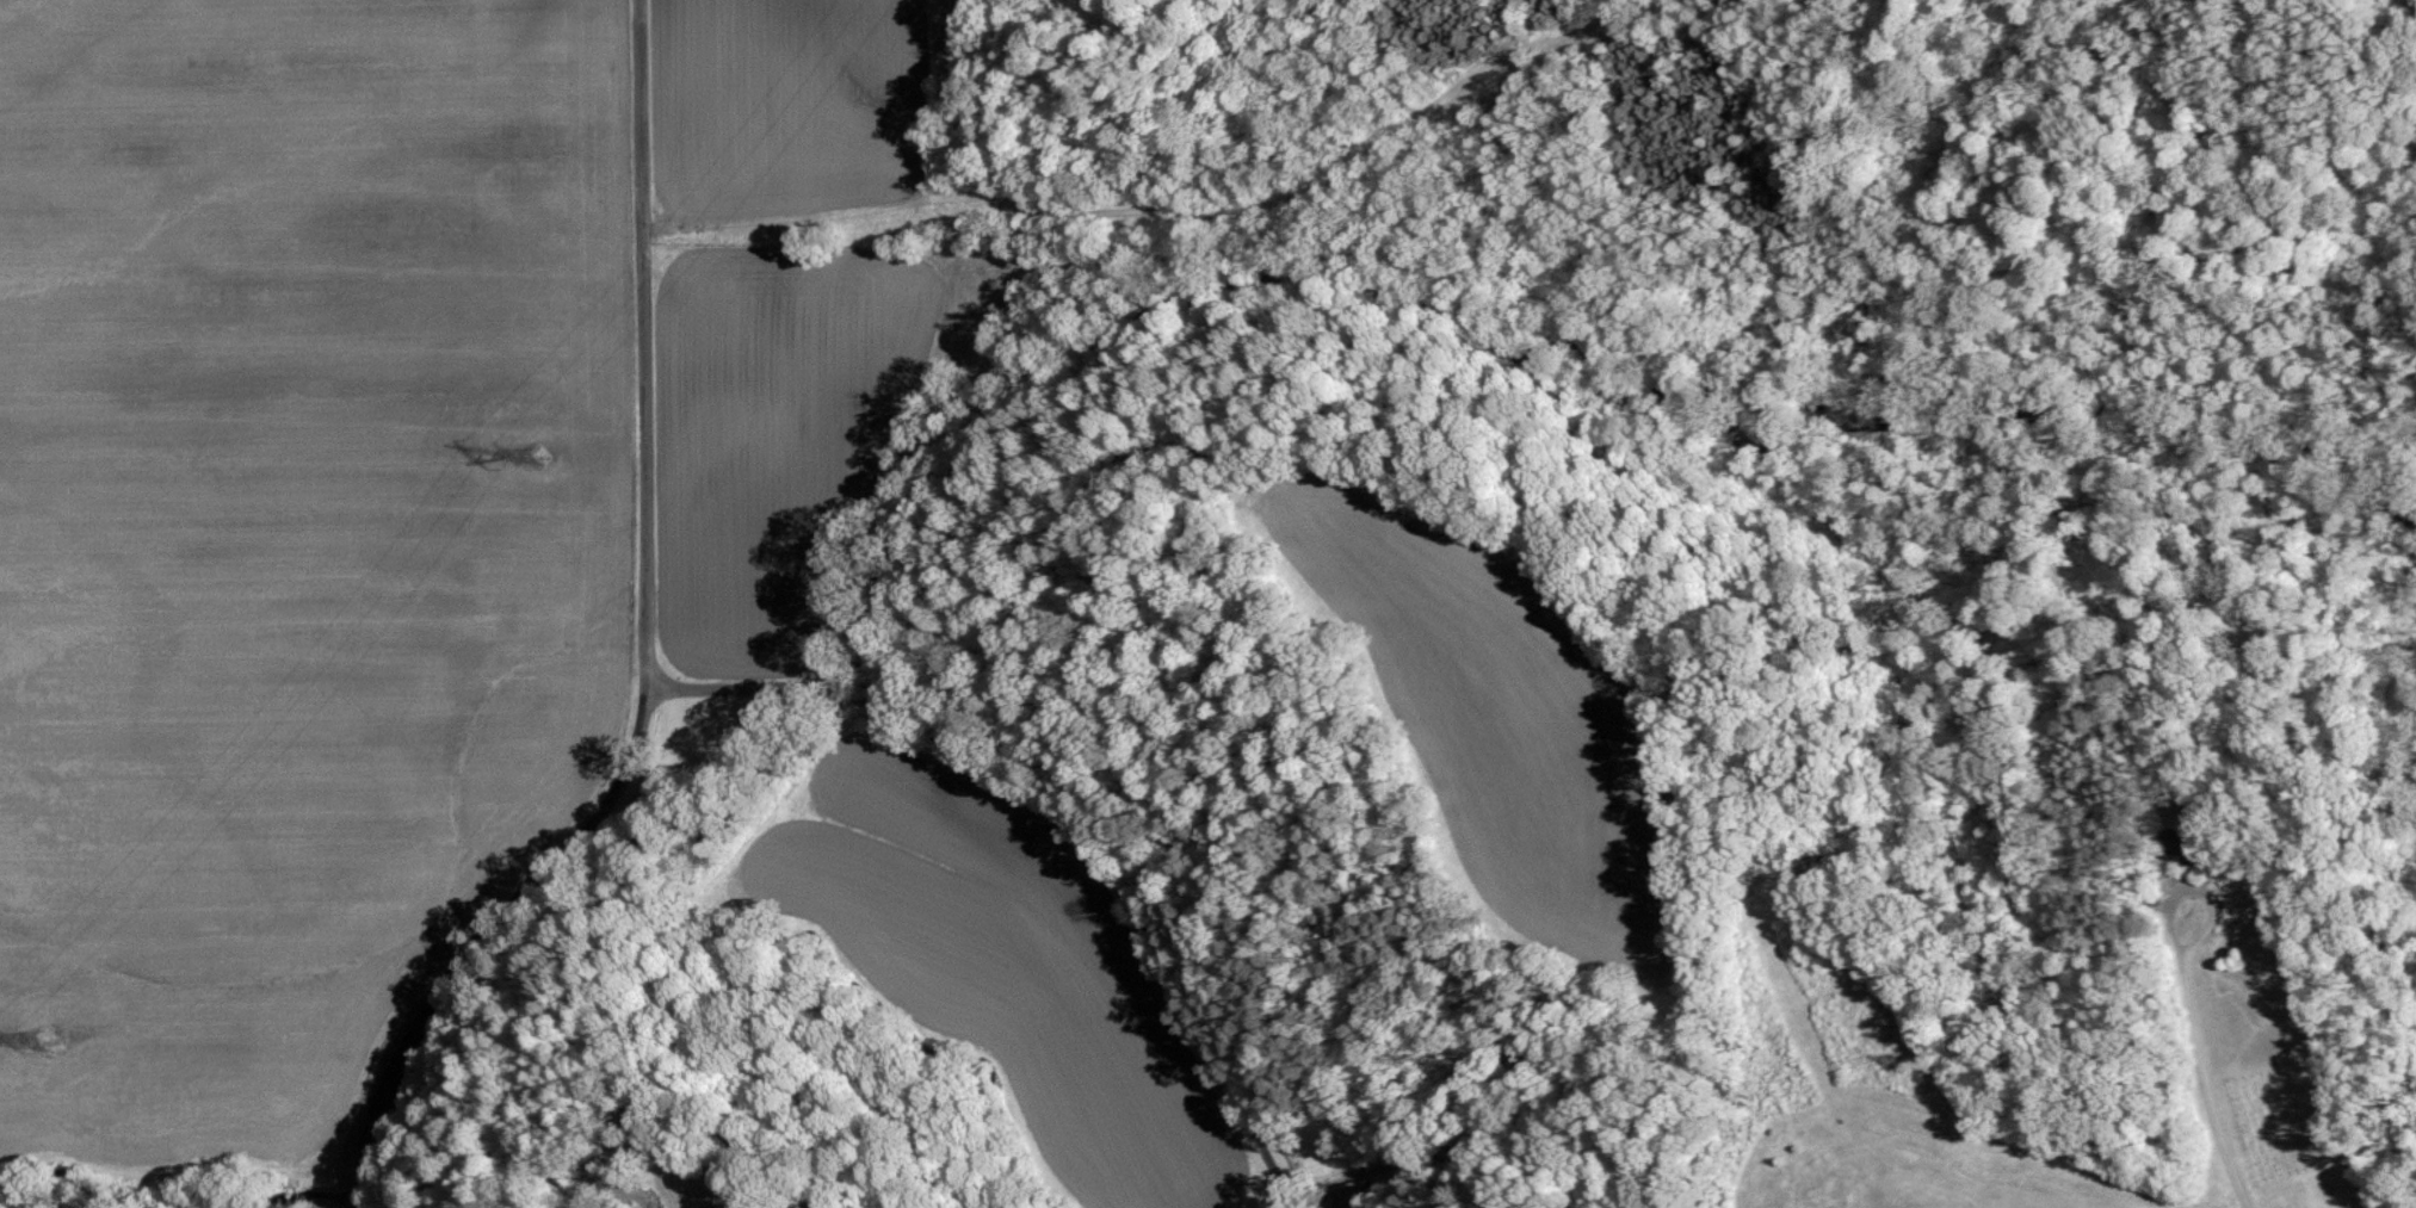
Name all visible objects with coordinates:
power tower: (542, 457)
road: (648, 648)
road: (1071, 814)
road: (2199, 893)
power tower: (50, 1040)
road: (2210, 1086)
building: (1359, 1194)

